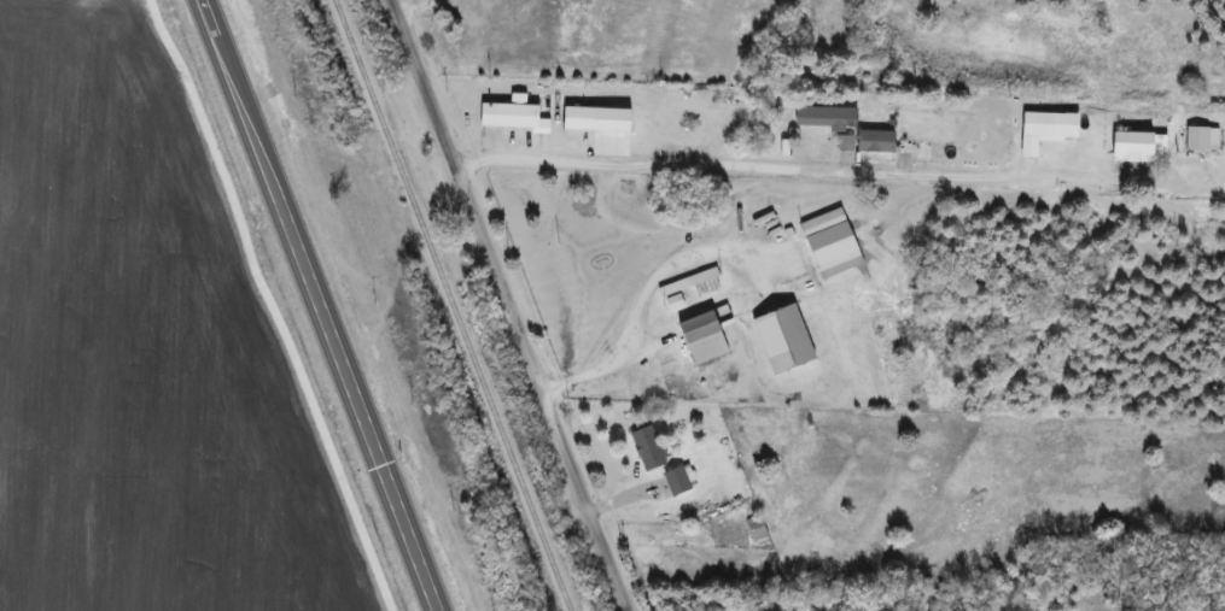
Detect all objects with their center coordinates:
road: (413, 8)
building: (509, 113)
building: (576, 118)
building: (823, 118)
building: (1040, 124)
building: (1194, 137)
building: (1128, 143)
road: (731, 166)
road: (1113, 184)
building: (827, 236)
road: (315, 305)
railway: (450, 305)
road: (501, 305)
building: (700, 337)
building: (780, 339)
road: (591, 363)
building: (646, 448)
building: (677, 480)
building: (754, 528)

